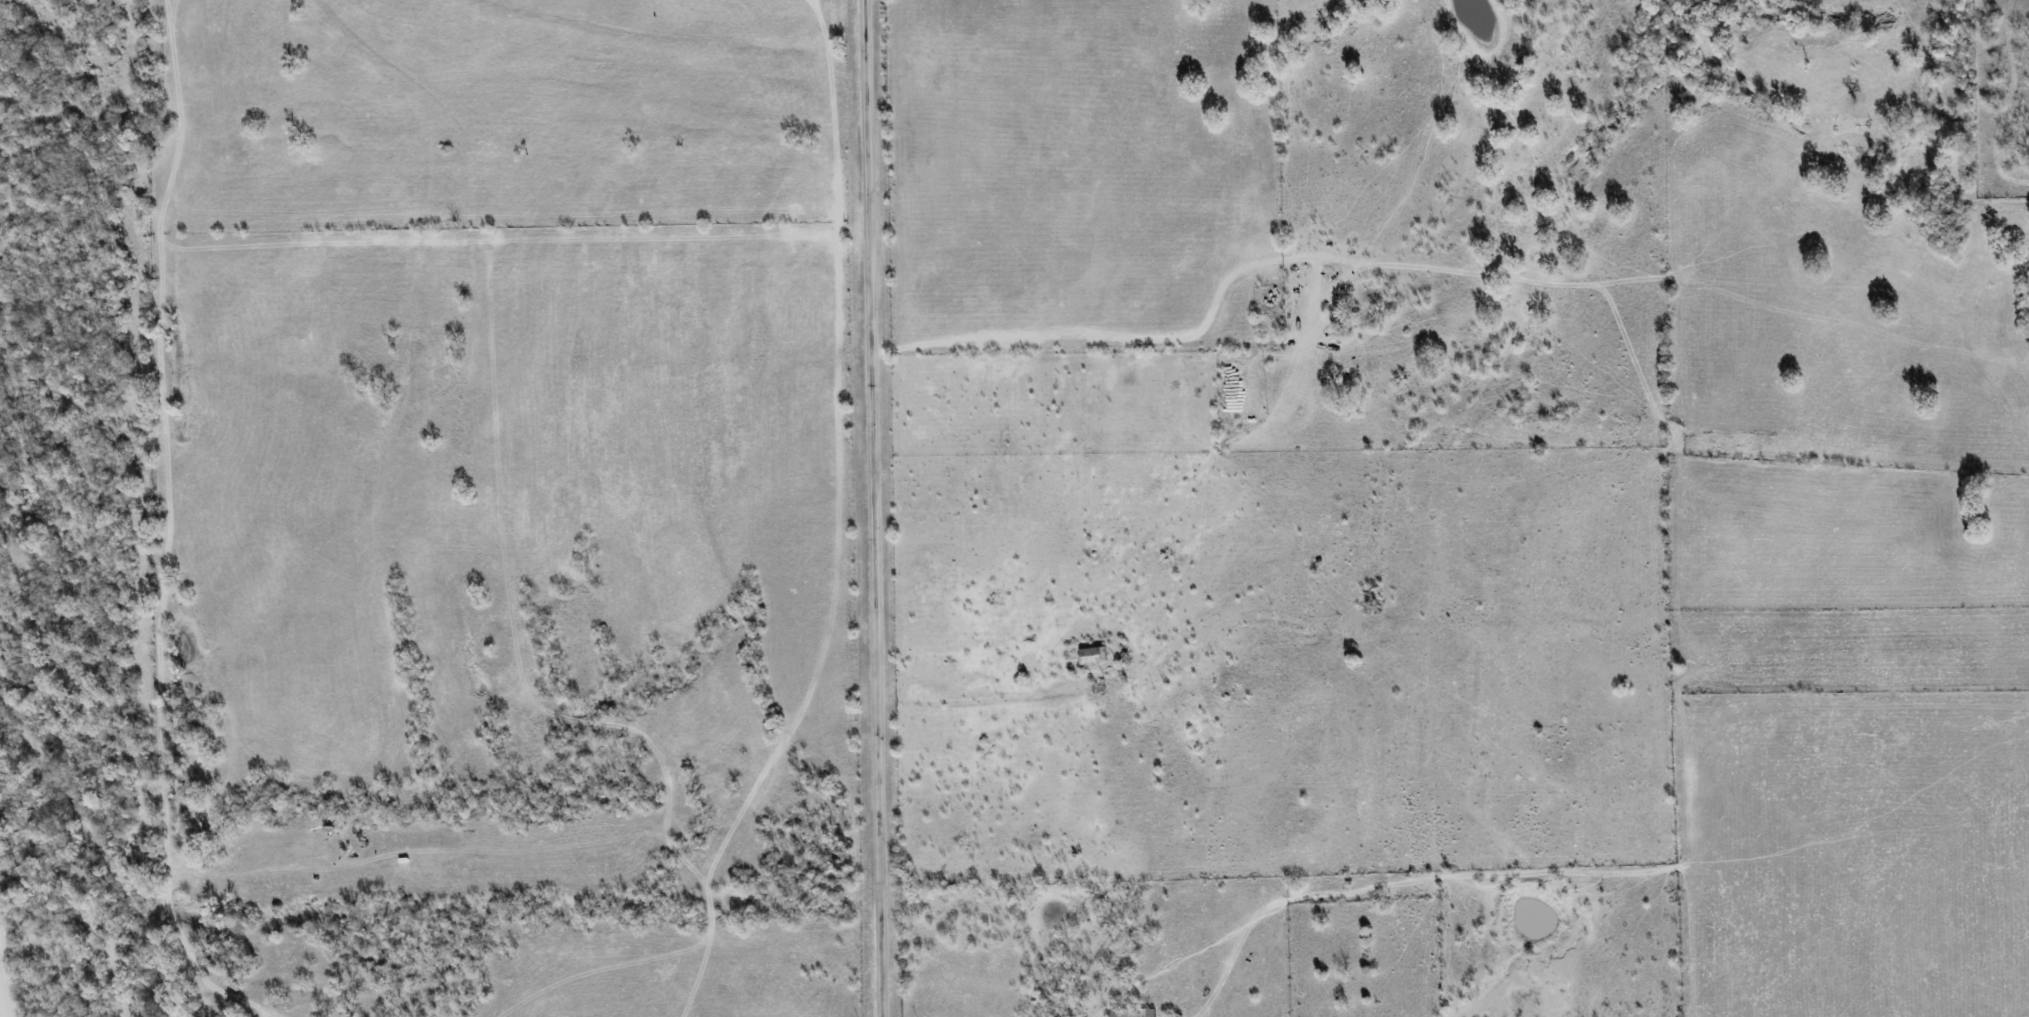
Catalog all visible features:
road: (874, 508)
building: (1096, 654)
building: (1135, 1012)

